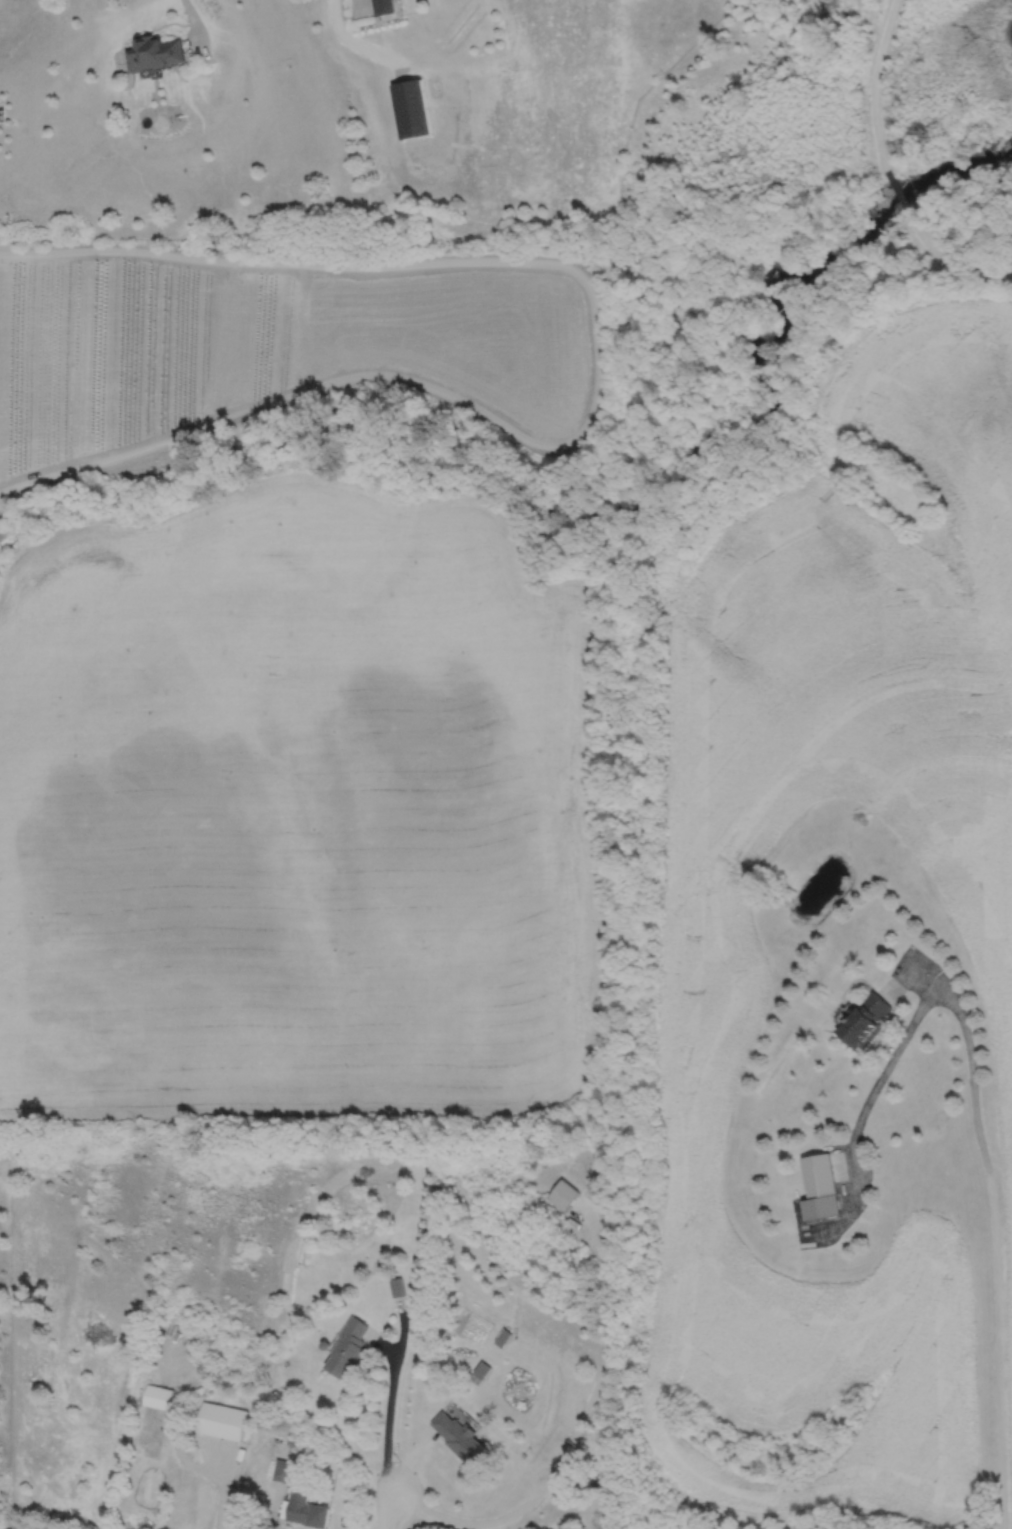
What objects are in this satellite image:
road: (358, 7)
building: (384, 8)
road: (195, 23)
road: (358, 43)
building: (155, 54)
road: (873, 83)
building: (412, 111)
road: (896, 189)
park: (698, 258)
road: (946, 264)
road: (596, 370)
crop: (705, 915)
building: (866, 1022)
road: (901, 1043)
building: (820, 1176)
building: (564, 1195)
building: (397, 1288)
road: (998, 1305)
building: (348, 1349)
building: (480, 1374)
building: (156, 1394)
building: (221, 1419)
road: (388, 1422)
building: (457, 1437)
road: (182, 1458)
building: (282, 1472)
building: (306, 1510)
road: (392, 1511)

